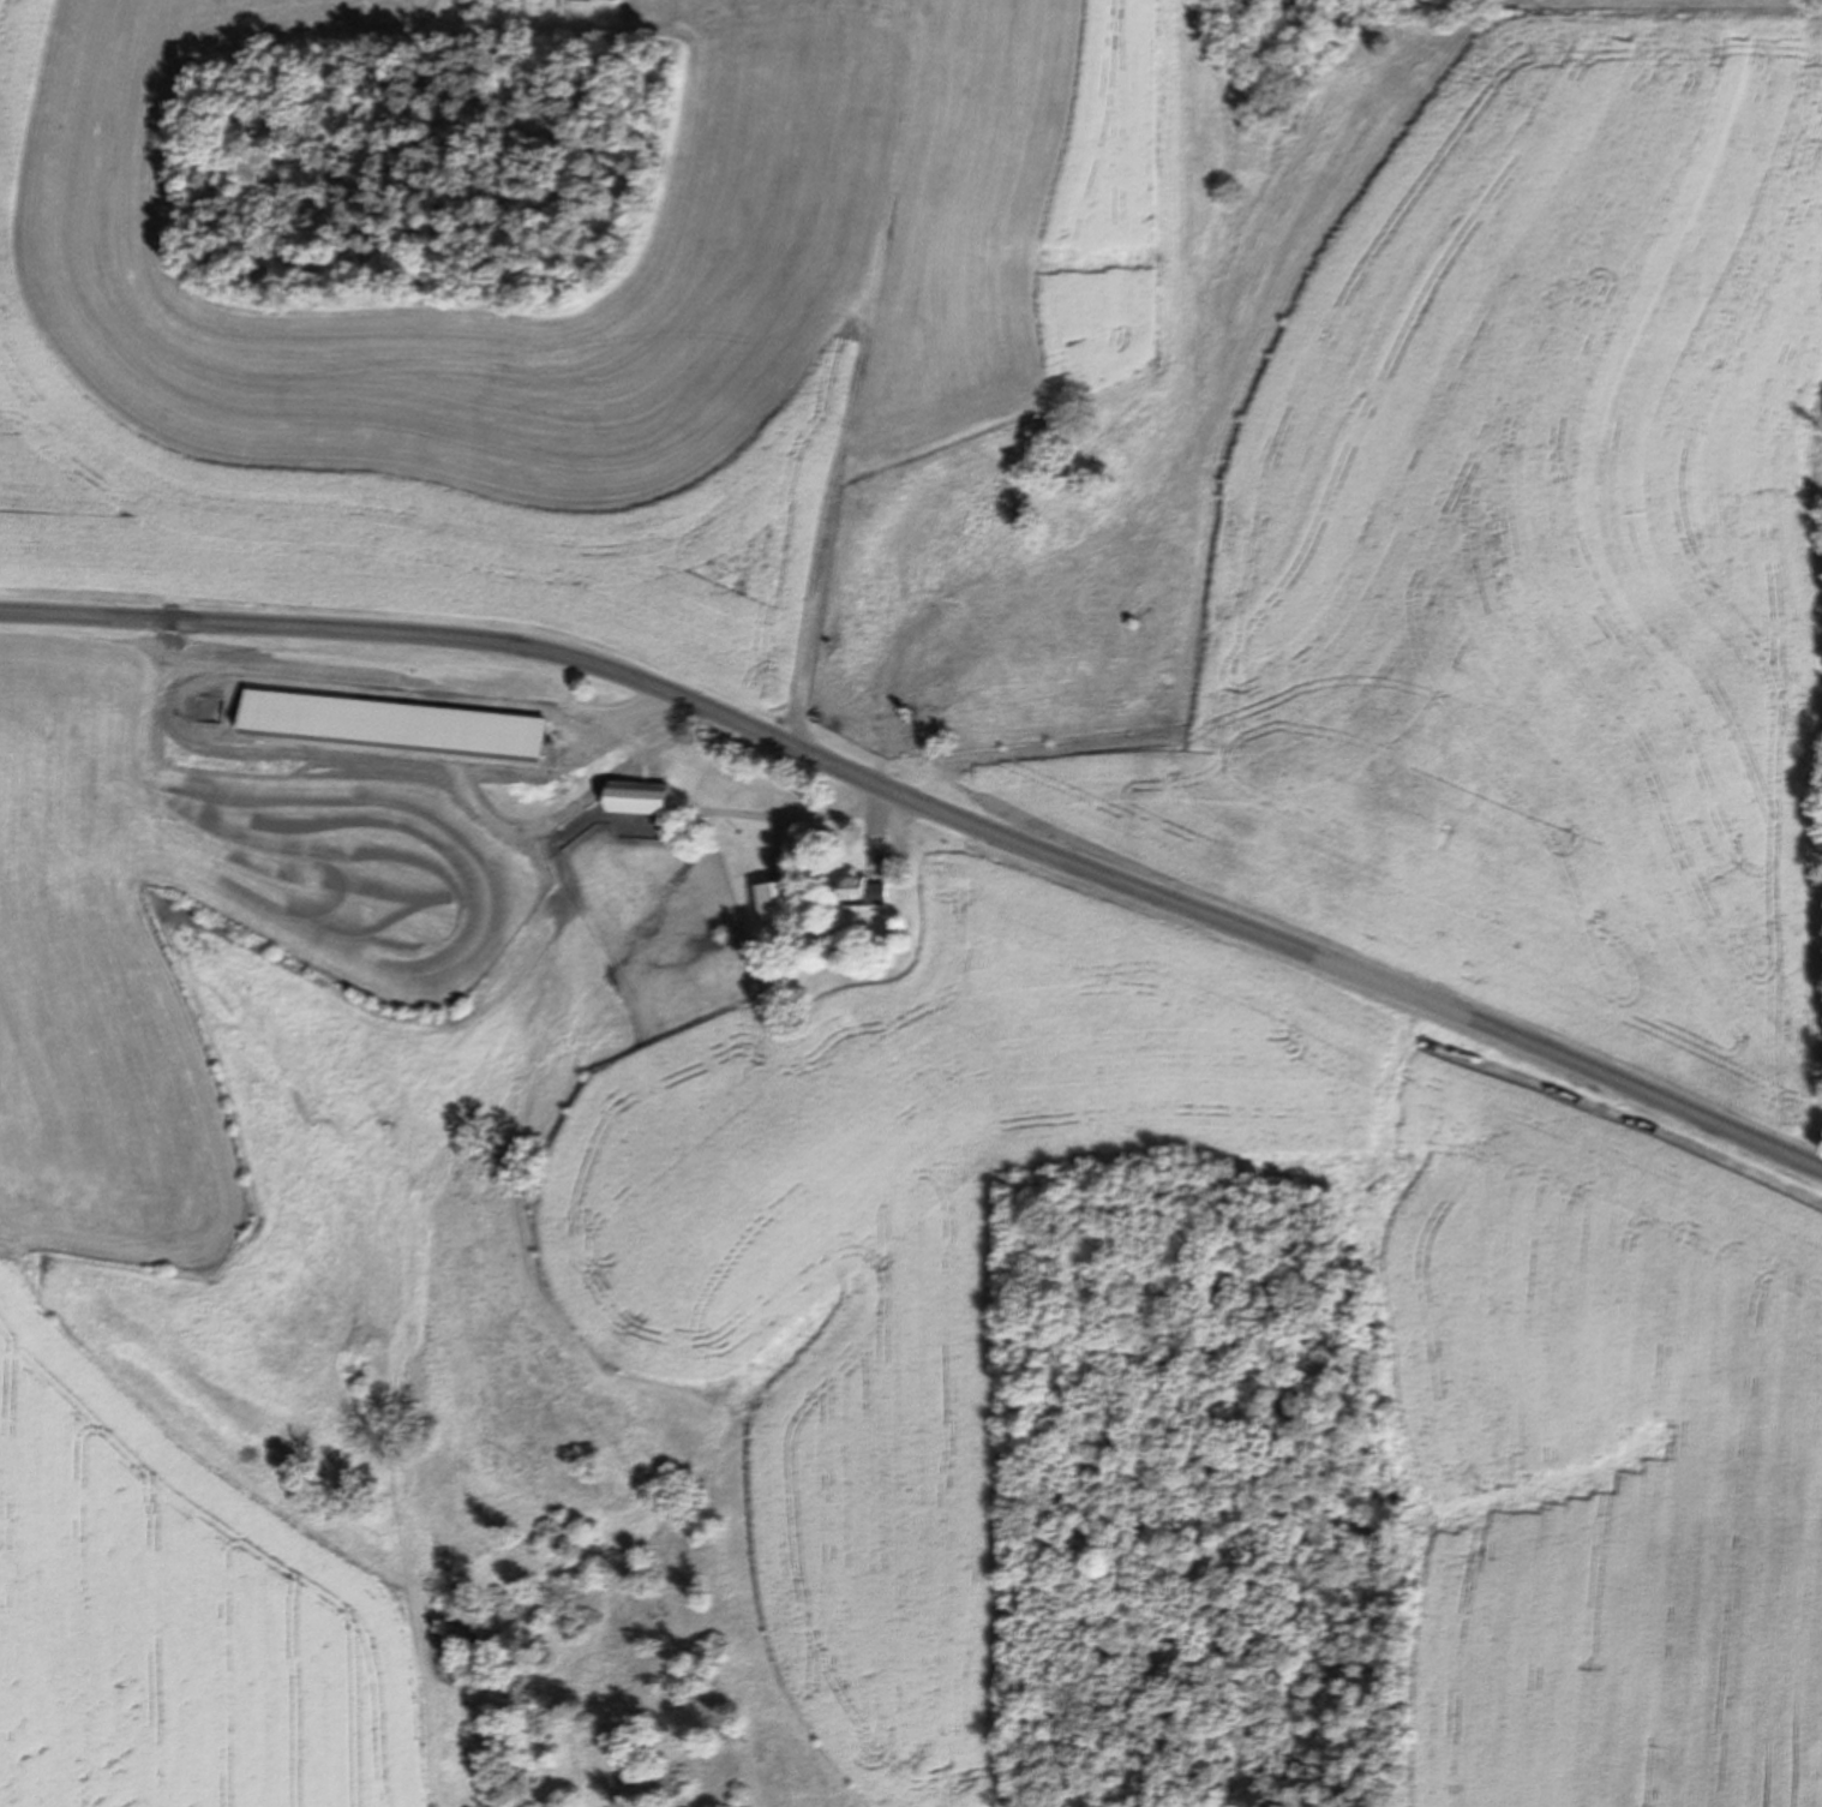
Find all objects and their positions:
road: (861, 382)
building: (463, 730)
building: (640, 795)
road: (930, 802)
road: (783, 814)
road: (880, 830)
road: (534, 834)
building: (863, 890)
building: (778, 900)
road: (1818, 1154)

